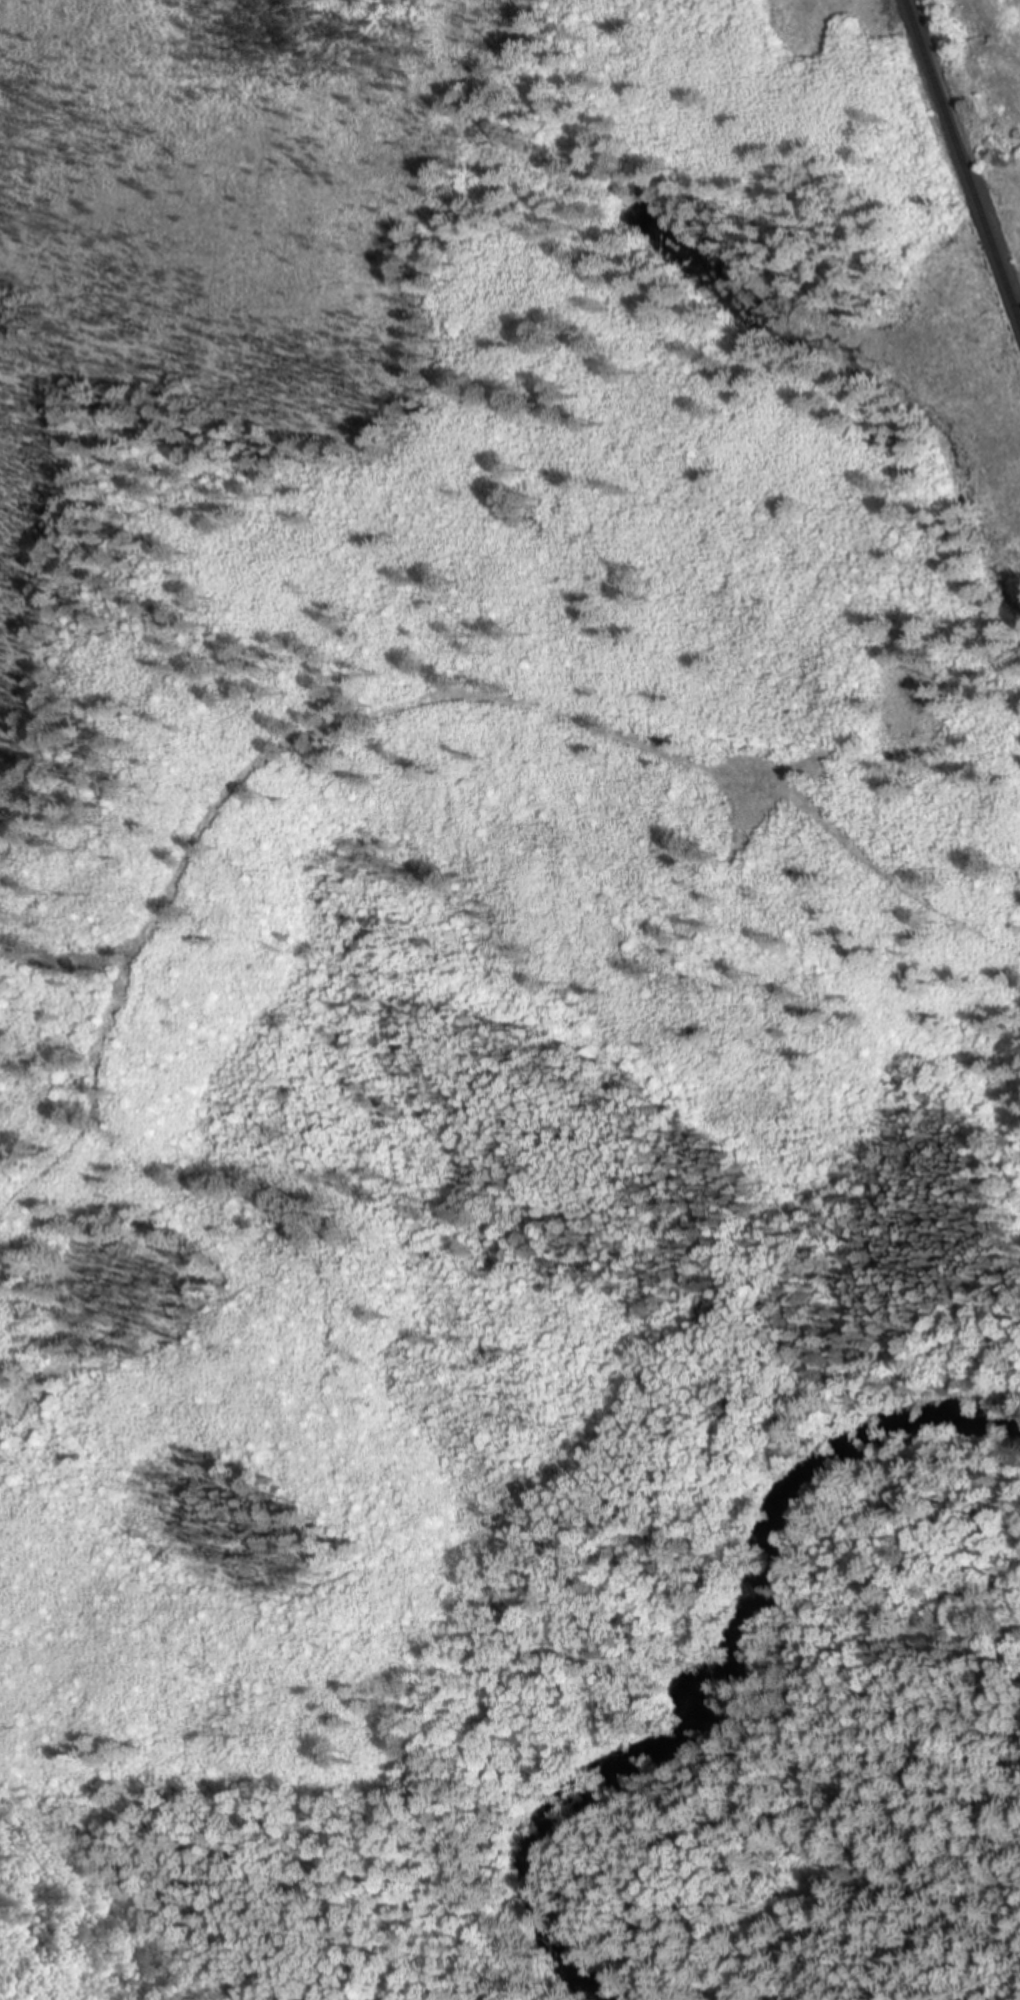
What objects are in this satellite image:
railway: (962, 163)
river: (717, 1684)

